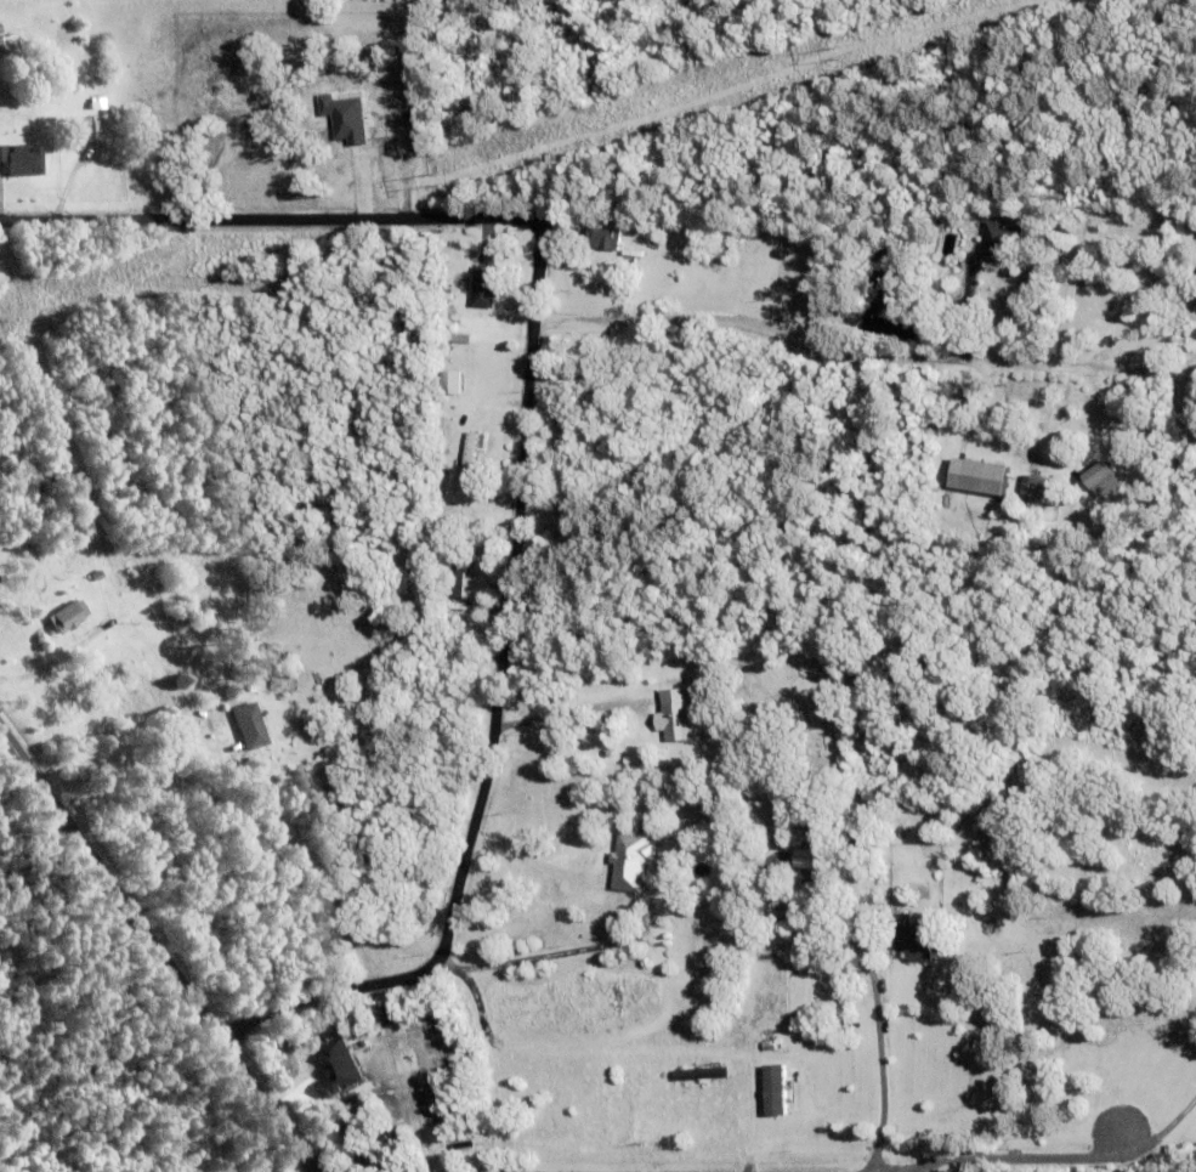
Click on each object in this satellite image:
building: (0, 30)
building: (8, 43)
building: (79, 128)
building: (22, 162)
road: (176, 219)
building: (602, 239)
building: (998, 244)
building: (483, 288)
building: (446, 298)
building: (1113, 344)
road: (862, 355)
building: (449, 384)
building: (470, 455)
building: (975, 476)
building: (1013, 480)
building: (1101, 482)
building: (1035, 491)
building: (447, 564)
building: (460, 574)
building: (97, 577)
building: (124, 581)
building: (182, 615)
building: (68, 619)
road: (510, 619)
building: (289, 686)
building: (793, 702)
building: (675, 718)
building: (250, 729)
building: (682, 760)
road: (125, 763)
building: (992, 800)
road: (528, 862)
building: (627, 862)
building: (784, 906)
building: (705, 924)
building: (914, 941)
road: (159, 946)
building: (679, 946)
road: (554, 959)
building: (764, 962)
road: (481, 1065)
building: (334, 1066)
road: (883, 1066)
building: (699, 1076)
building: (721, 1087)
building: (771, 1088)
road: (1095, 1157)

